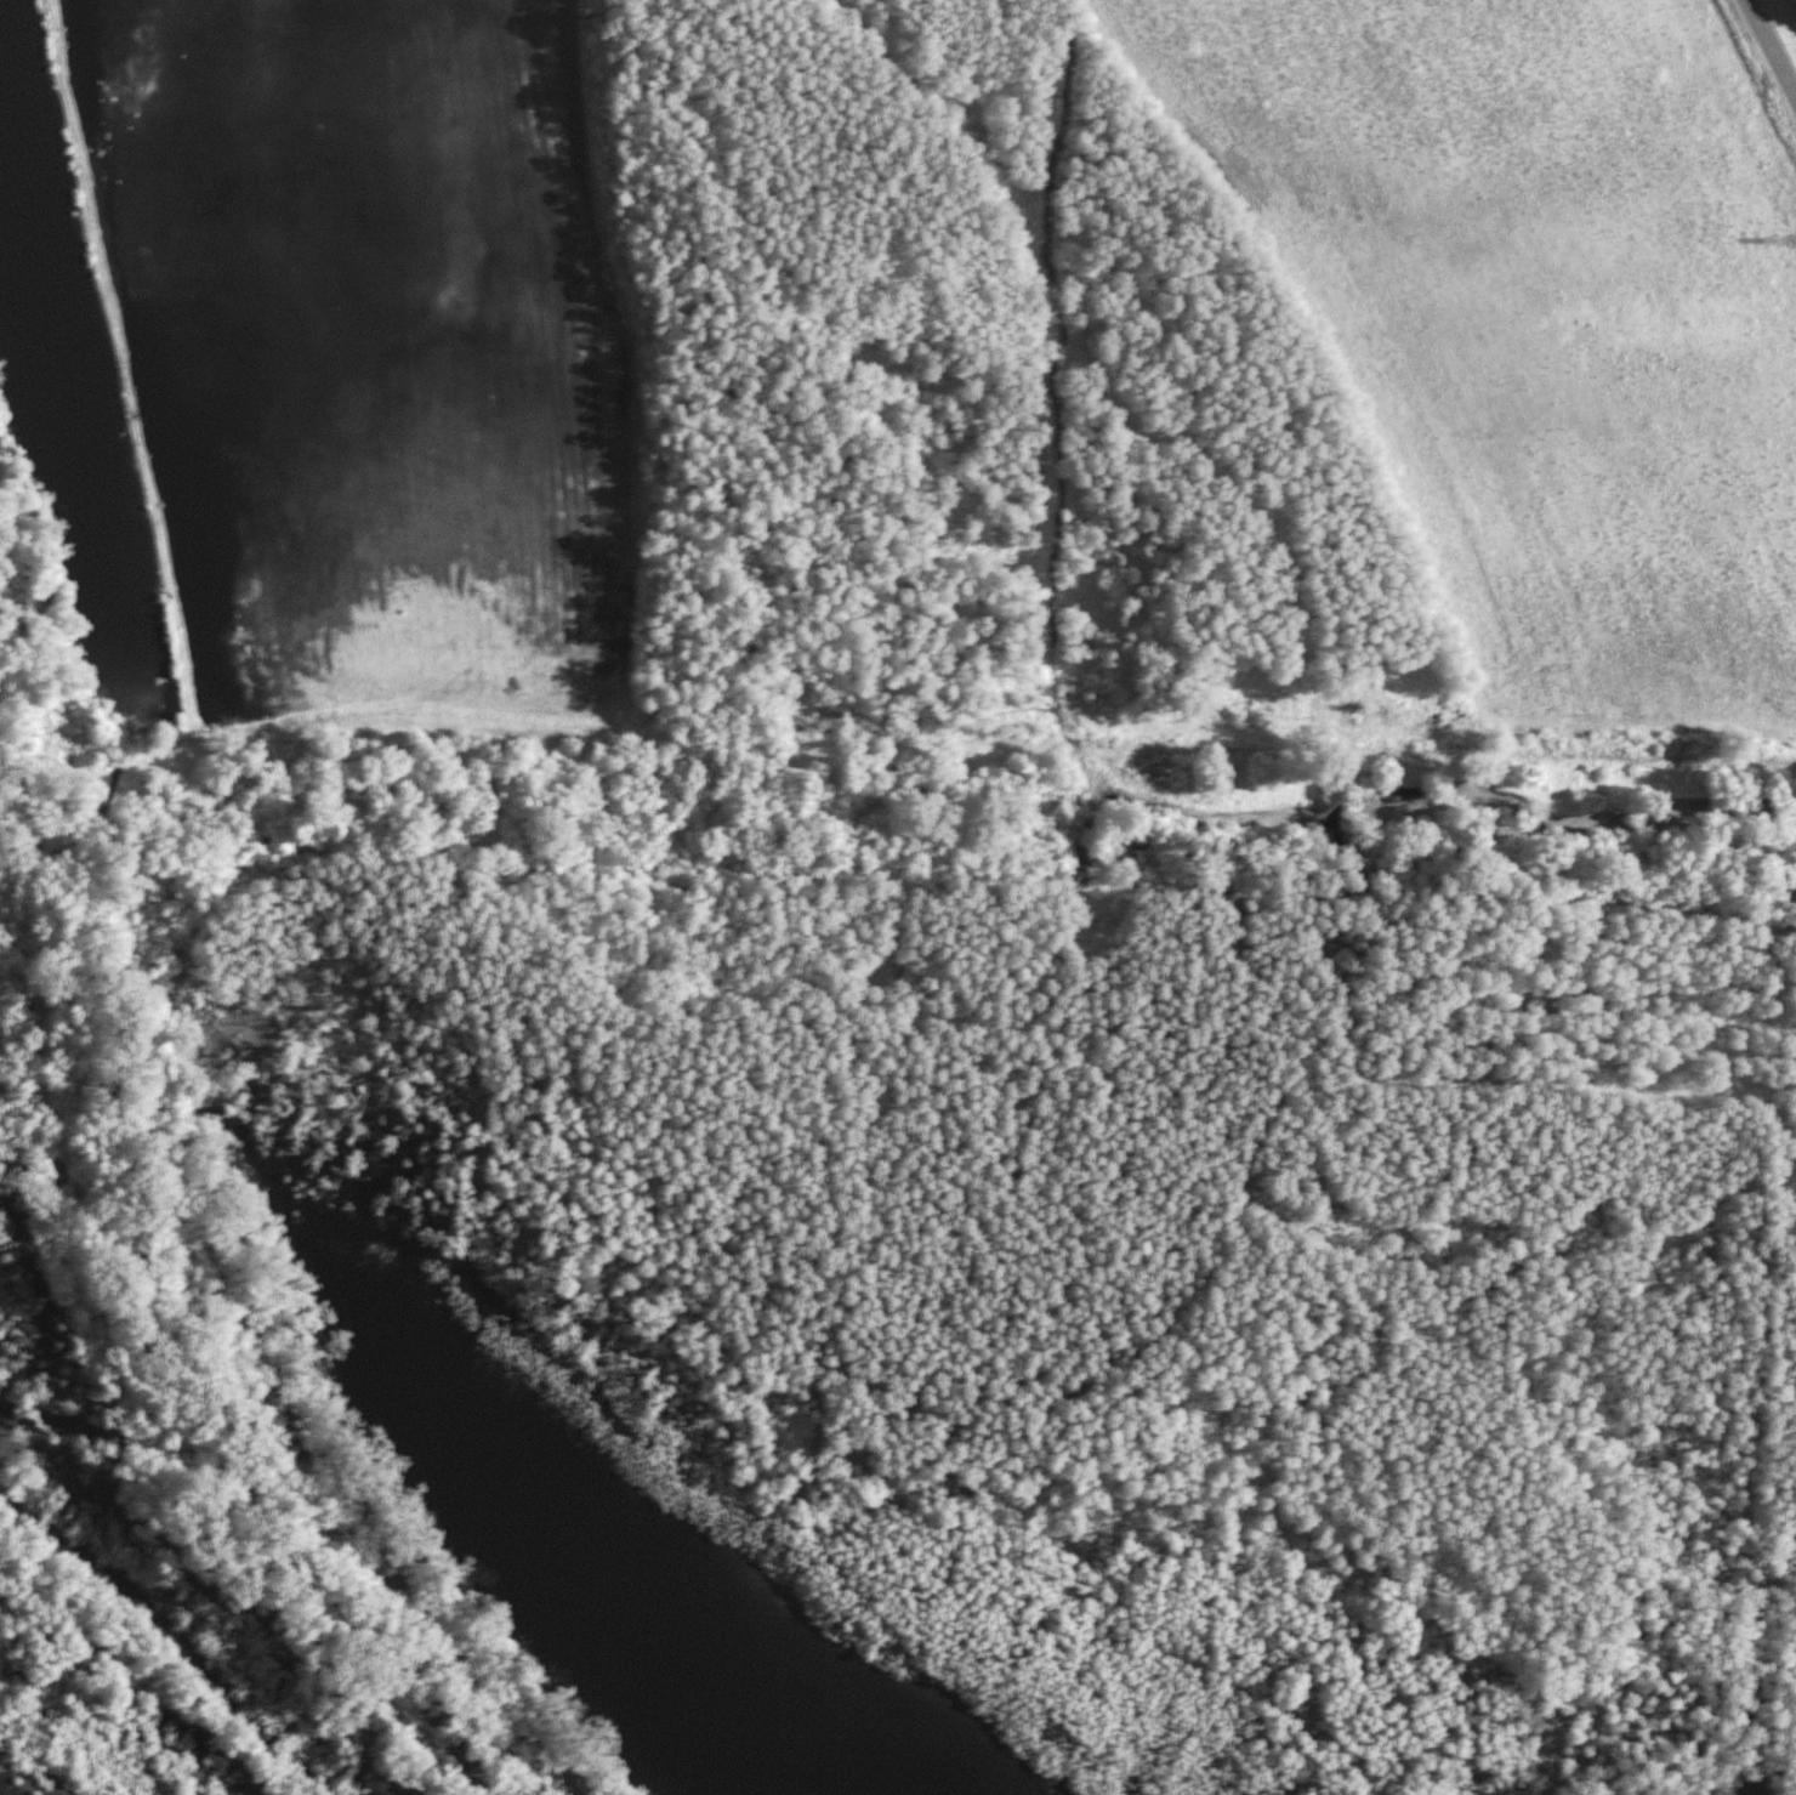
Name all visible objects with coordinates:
road: (1769, 51)

